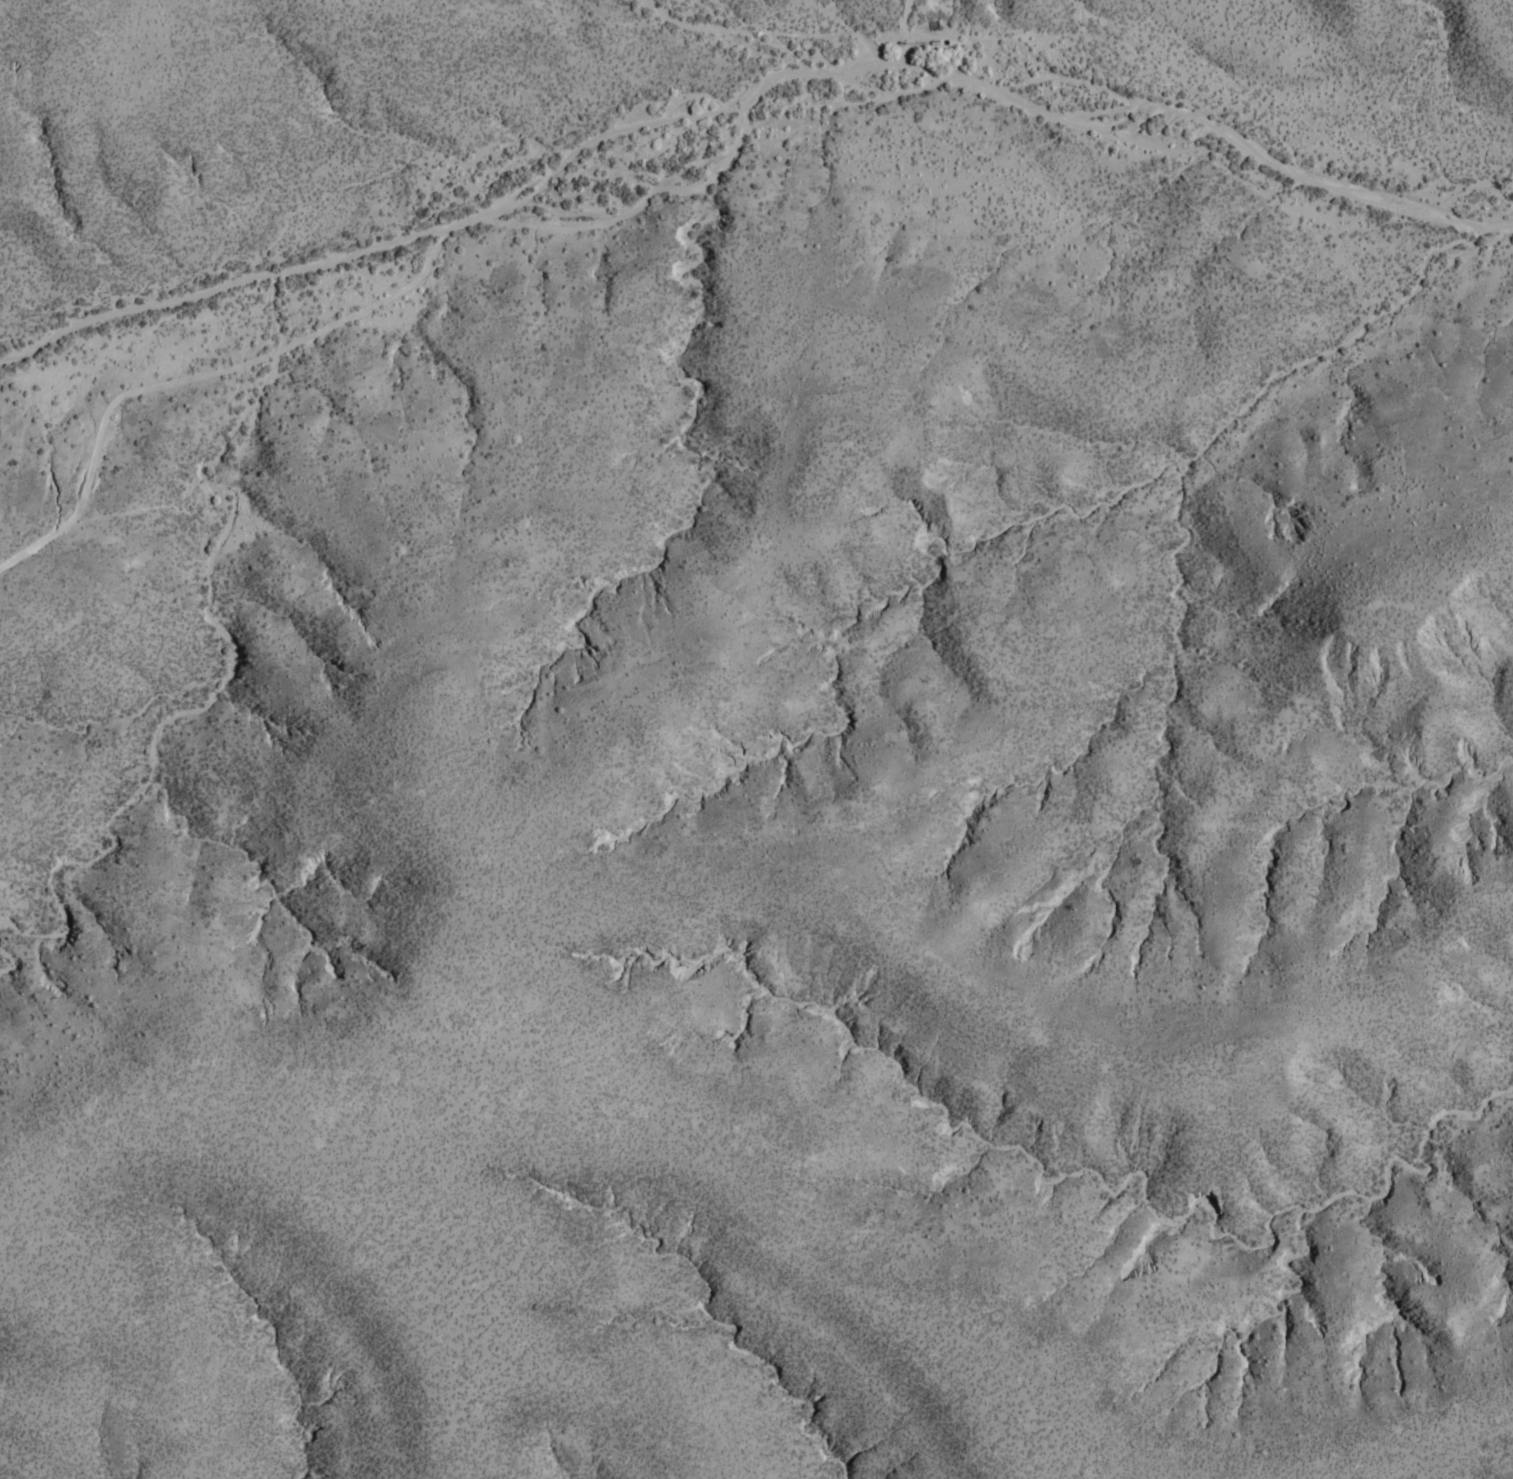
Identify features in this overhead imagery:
road: (443, 237)

